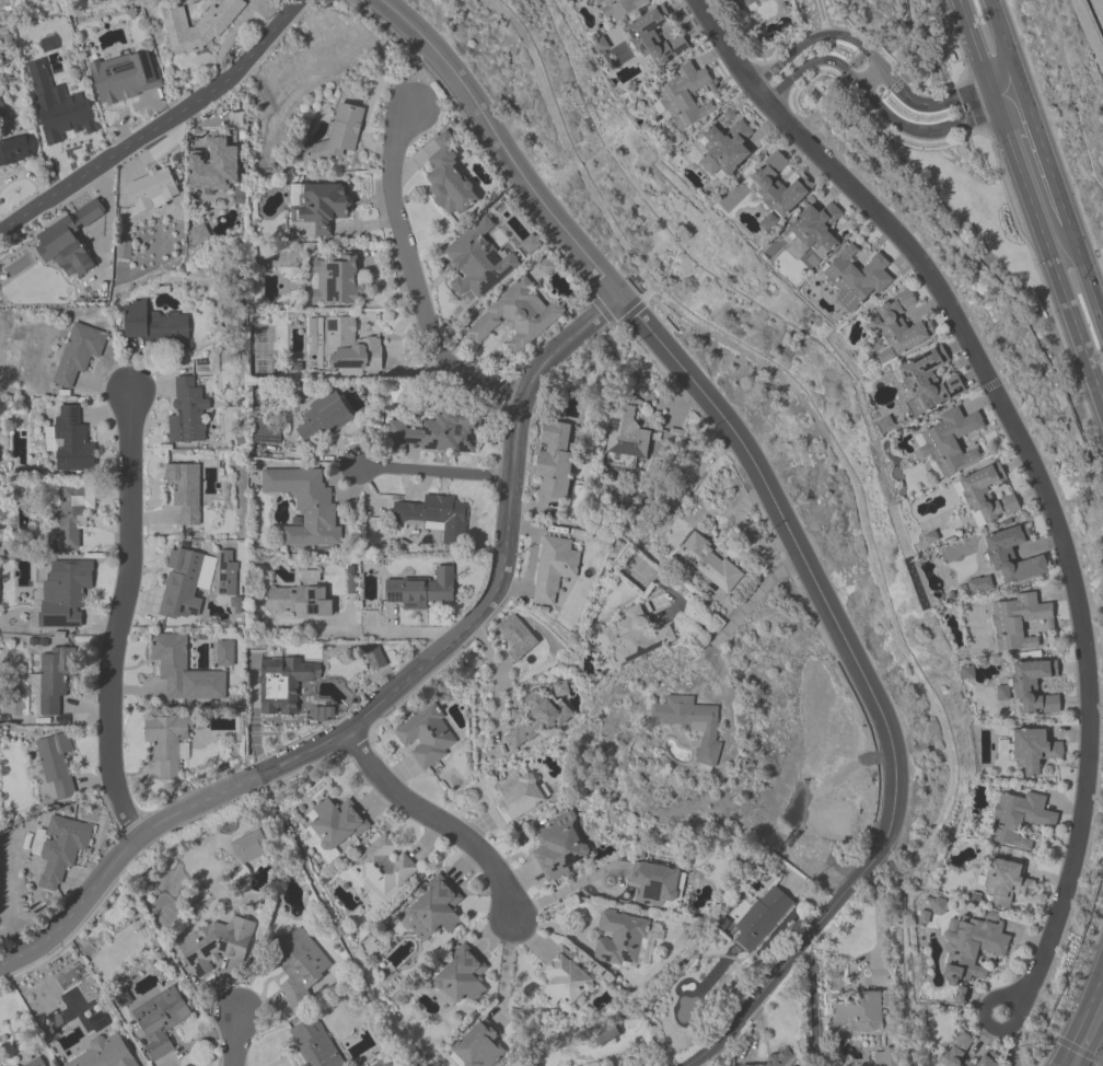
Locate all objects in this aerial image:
building: (576, 0)
building: (596, 1)
building: (741, 3)
building: (618, 7)
building: (197, 25)
road: (814, 36)
building: (654, 38)
road: (1005, 45)
road: (811, 66)
building: (291, 72)
road: (870, 77)
building: (123, 78)
building: (685, 97)
road: (942, 102)
building: (66, 119)
road: (159, 126)
road: (934, 128)
building: (336, 137)
road: (500, 142)
building: (18, 151)
building: (723, 152)
road: (1044, 158)
building: (216, 167)
building: (449, 181)
building: (777, 187)
building: (152, 190)
road: (1029, 204)
building: (320, 205)
building: (816, 231)
building: (57, 235)
building: (478, 262)
road: (1085, 275)
road: (413, 277)
building: (855, 280)
building: (335, 281)
building: (516, 317)
building: (155, 327)
building: (898, 327)
building: (342, 347)
building: (78, 354)
building: (928, 382)
building: (187, 413)
building: (322, 417)
building: (265, 432)
building: (439, 432)
building: (626, 436)
building: (70, 441)
building: (949, 442)
road: (1026, 457)
building: (554, 460)
road: (437, 473)
building: (185, 493)
building: (986, 497)
building: (306, 507)
building: (72, 512)
building: (436, 517)
road: (792, 540)
building: (1011, 557)
building: (709, 564)
building: (554, 569)
building: (227, 572)
building: (181, 586)
building: (70, 589)
building: (421, 590)
building: (298, 602)
road: (743, 609)
road: (119, 619)
building: (1018, 624)
road: (391, 632)
building: (634, 637)
building: (516, 639)
building: (224, 654)
building: (375, 659)
building: (183, 672)
building: (54, 680)
building: (285, 684)
road: (497, 686)
building: (1033, 688)
road: (391, 694)
building: (325, 714)
building: (533, 720)
building: (688, 723)
building: (426, 738)
building: (167, 743)
building: (1002, 746)
building: (1034, 750)
building: (56, 766)
building: (516, 795)
building: (1019, 819)
road: (436, 821)
building: (837, 822)
building: (336, 824)
building: (249, 847)
building: (559, 848)
building: (60, 849)
building: (382, 868)
building: (1005, 882)
building: (655, 885)
road: (567, 888)
building: (434, 909)
road: (875, 913)
building: (762, 918)
building: (623, 940)
building: (217, 947)
road: (798, 948)
building: (972, 949)
building: (299, 966)
road: (854, 966)
road: (504, 969)
building: (461, 977)
building: (564, 980)
road: (812, 1003)
building: (857, 1015)
road: (1083, 1020)
building: (160, 1021)
road: (986, 1022)
road: (241, 1041)
building: (313, 1045)
building: (476, 1046)
road: (1095, 1051)
building: (963, 1053)
building: (104, 1054)
building: (776, 1059)
building: (884, 1059)
building: (37, 1063)
building: (385, 1063)

